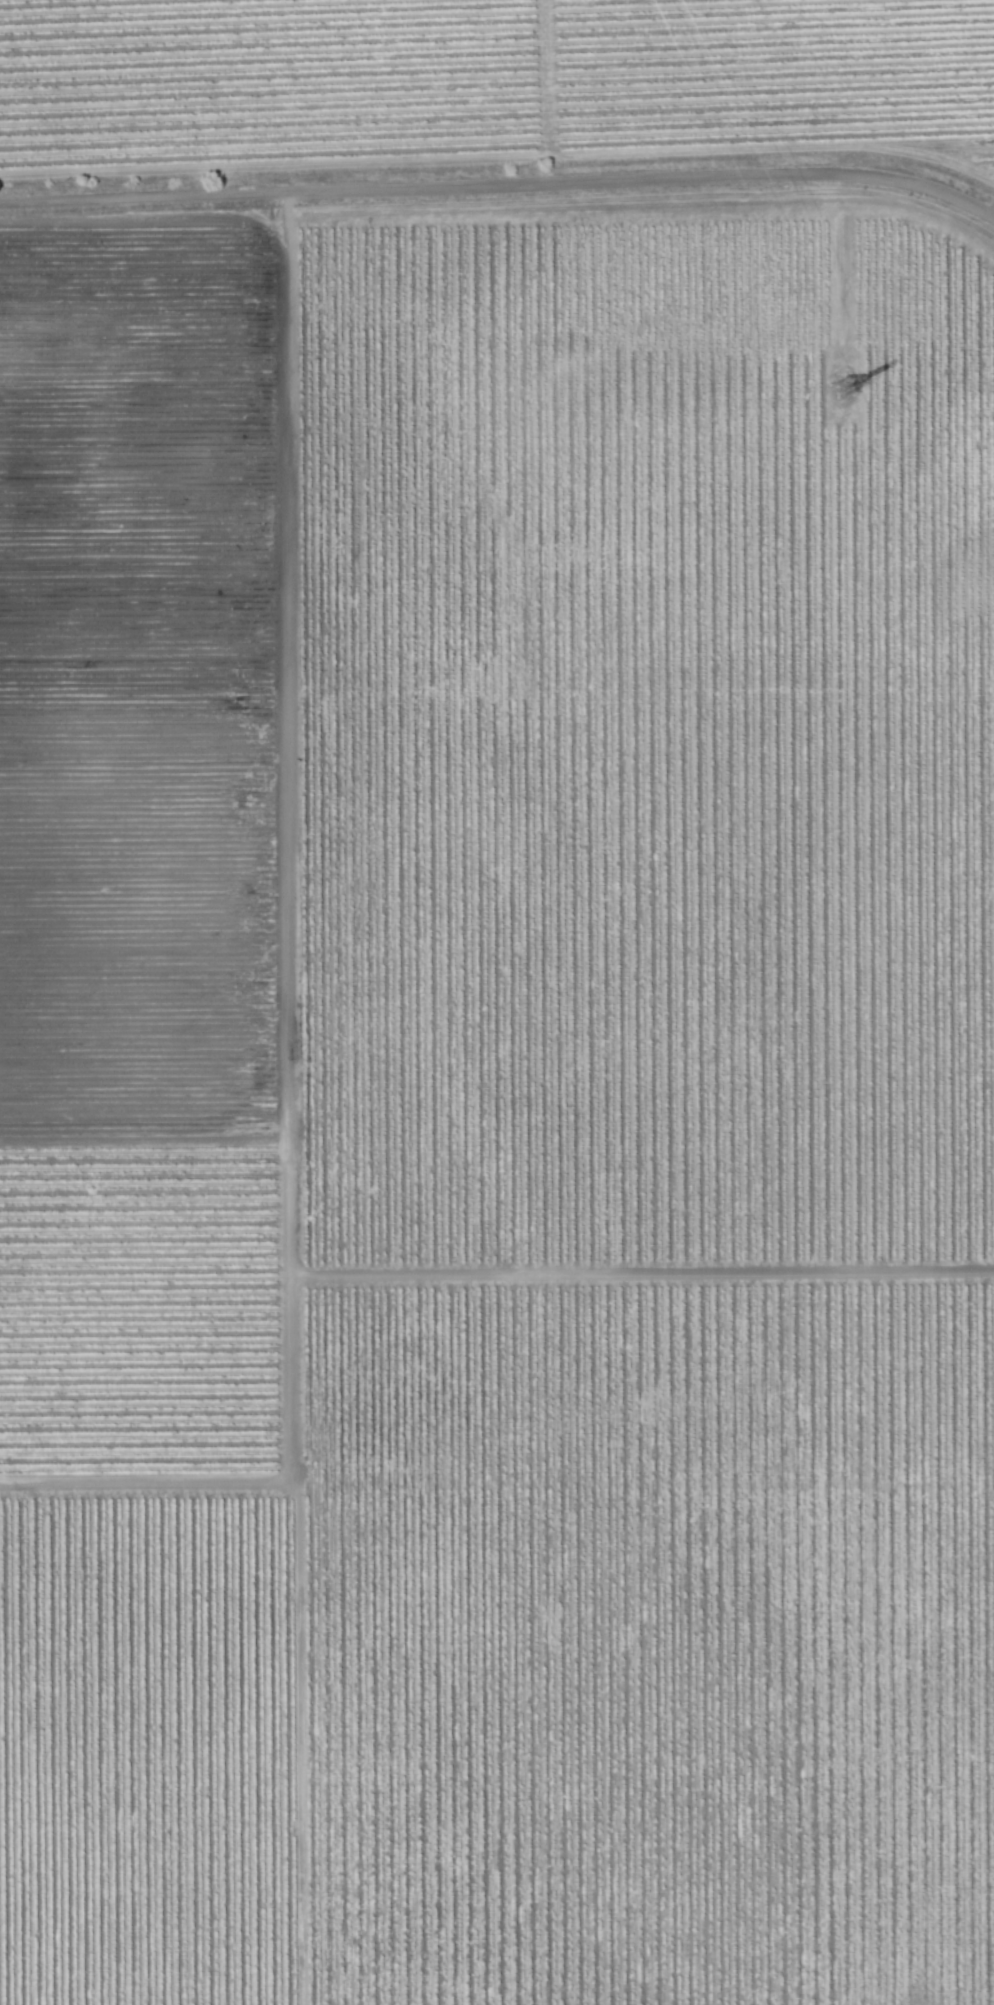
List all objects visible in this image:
road: (500, 186)
power tower: (840, 391)
road: (401, 1274)

